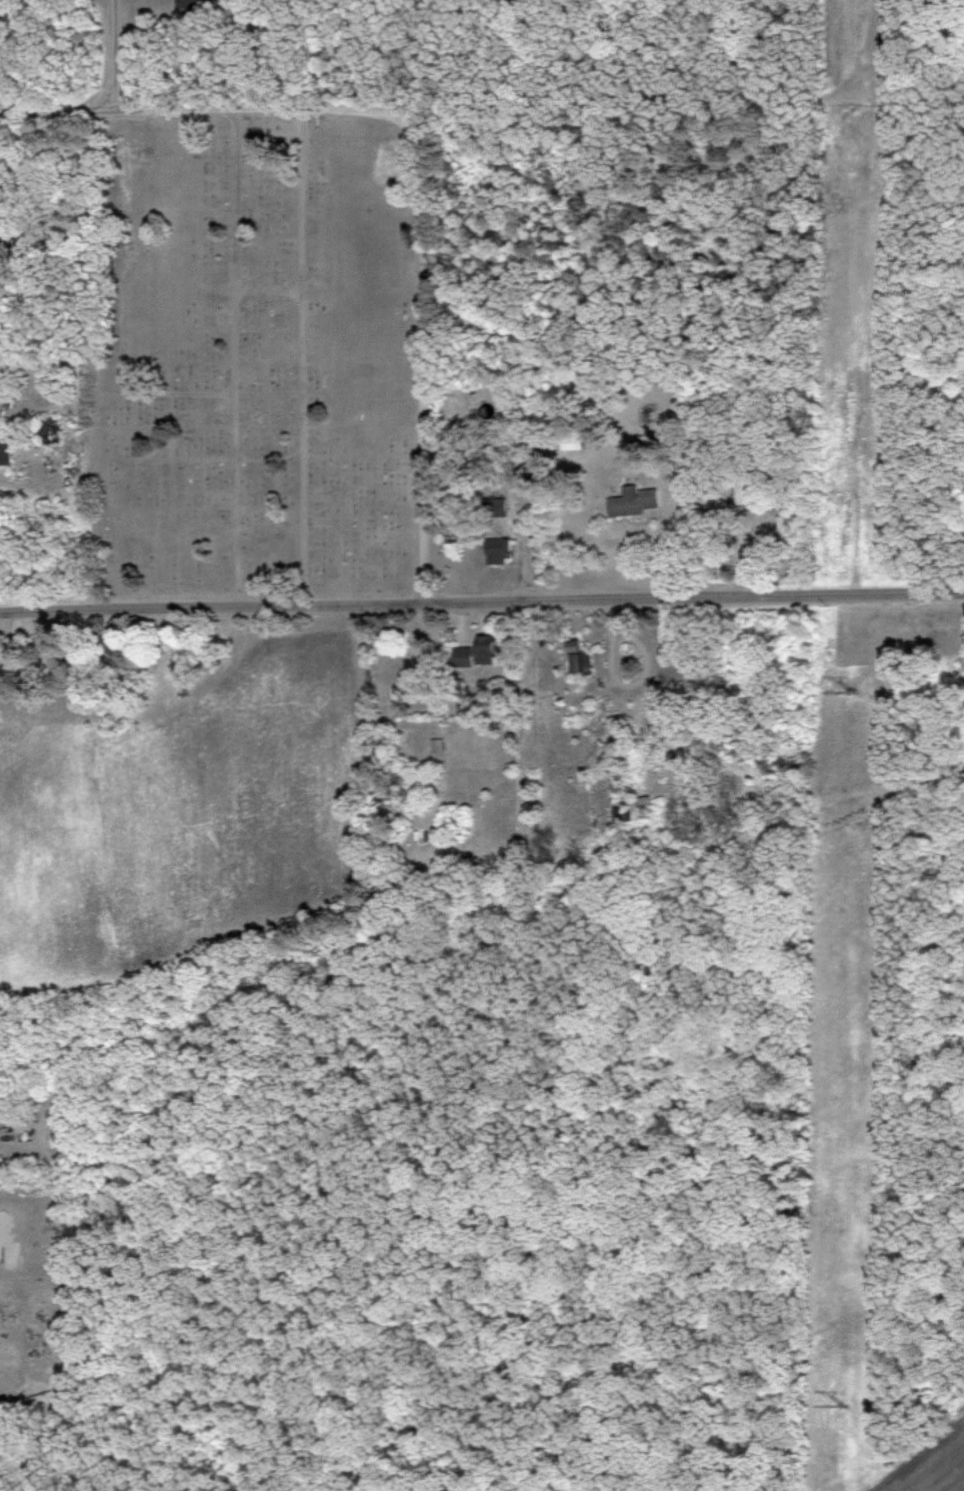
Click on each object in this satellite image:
building: (190, 3)
road: (114, 54)
road: (151, 107)
park: (267, 349)
road: (302, 354)
building: (630, 502)
building: (503, 551)
road: (719, 596)
road: (237, 604)
building: (491, 649)
building: (583, 657)

